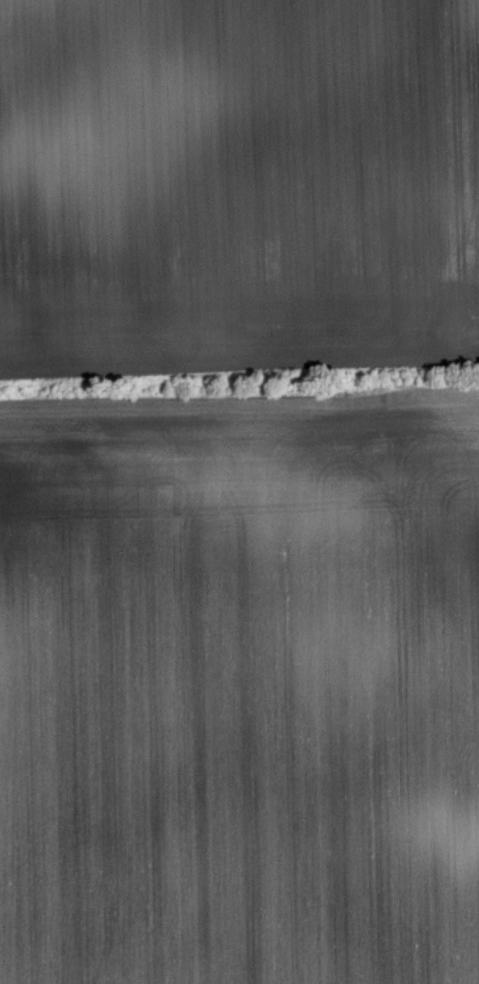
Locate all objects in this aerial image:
crop: (237, 185)
crop: (240, 687)

